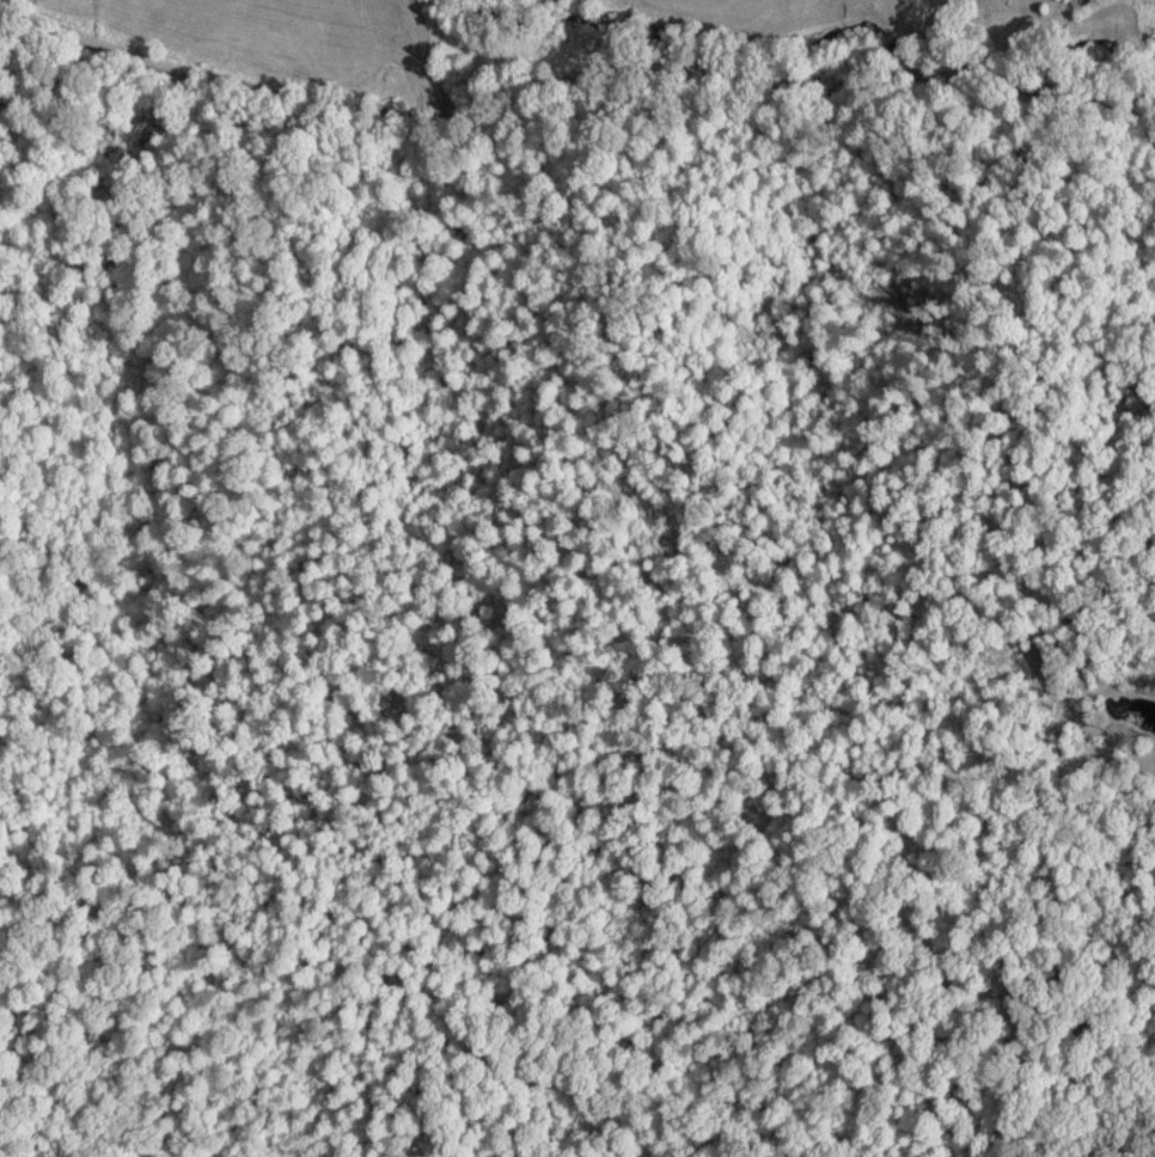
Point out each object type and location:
road: (962, 23)
road: (487, 66)
road: (1067, 66)

